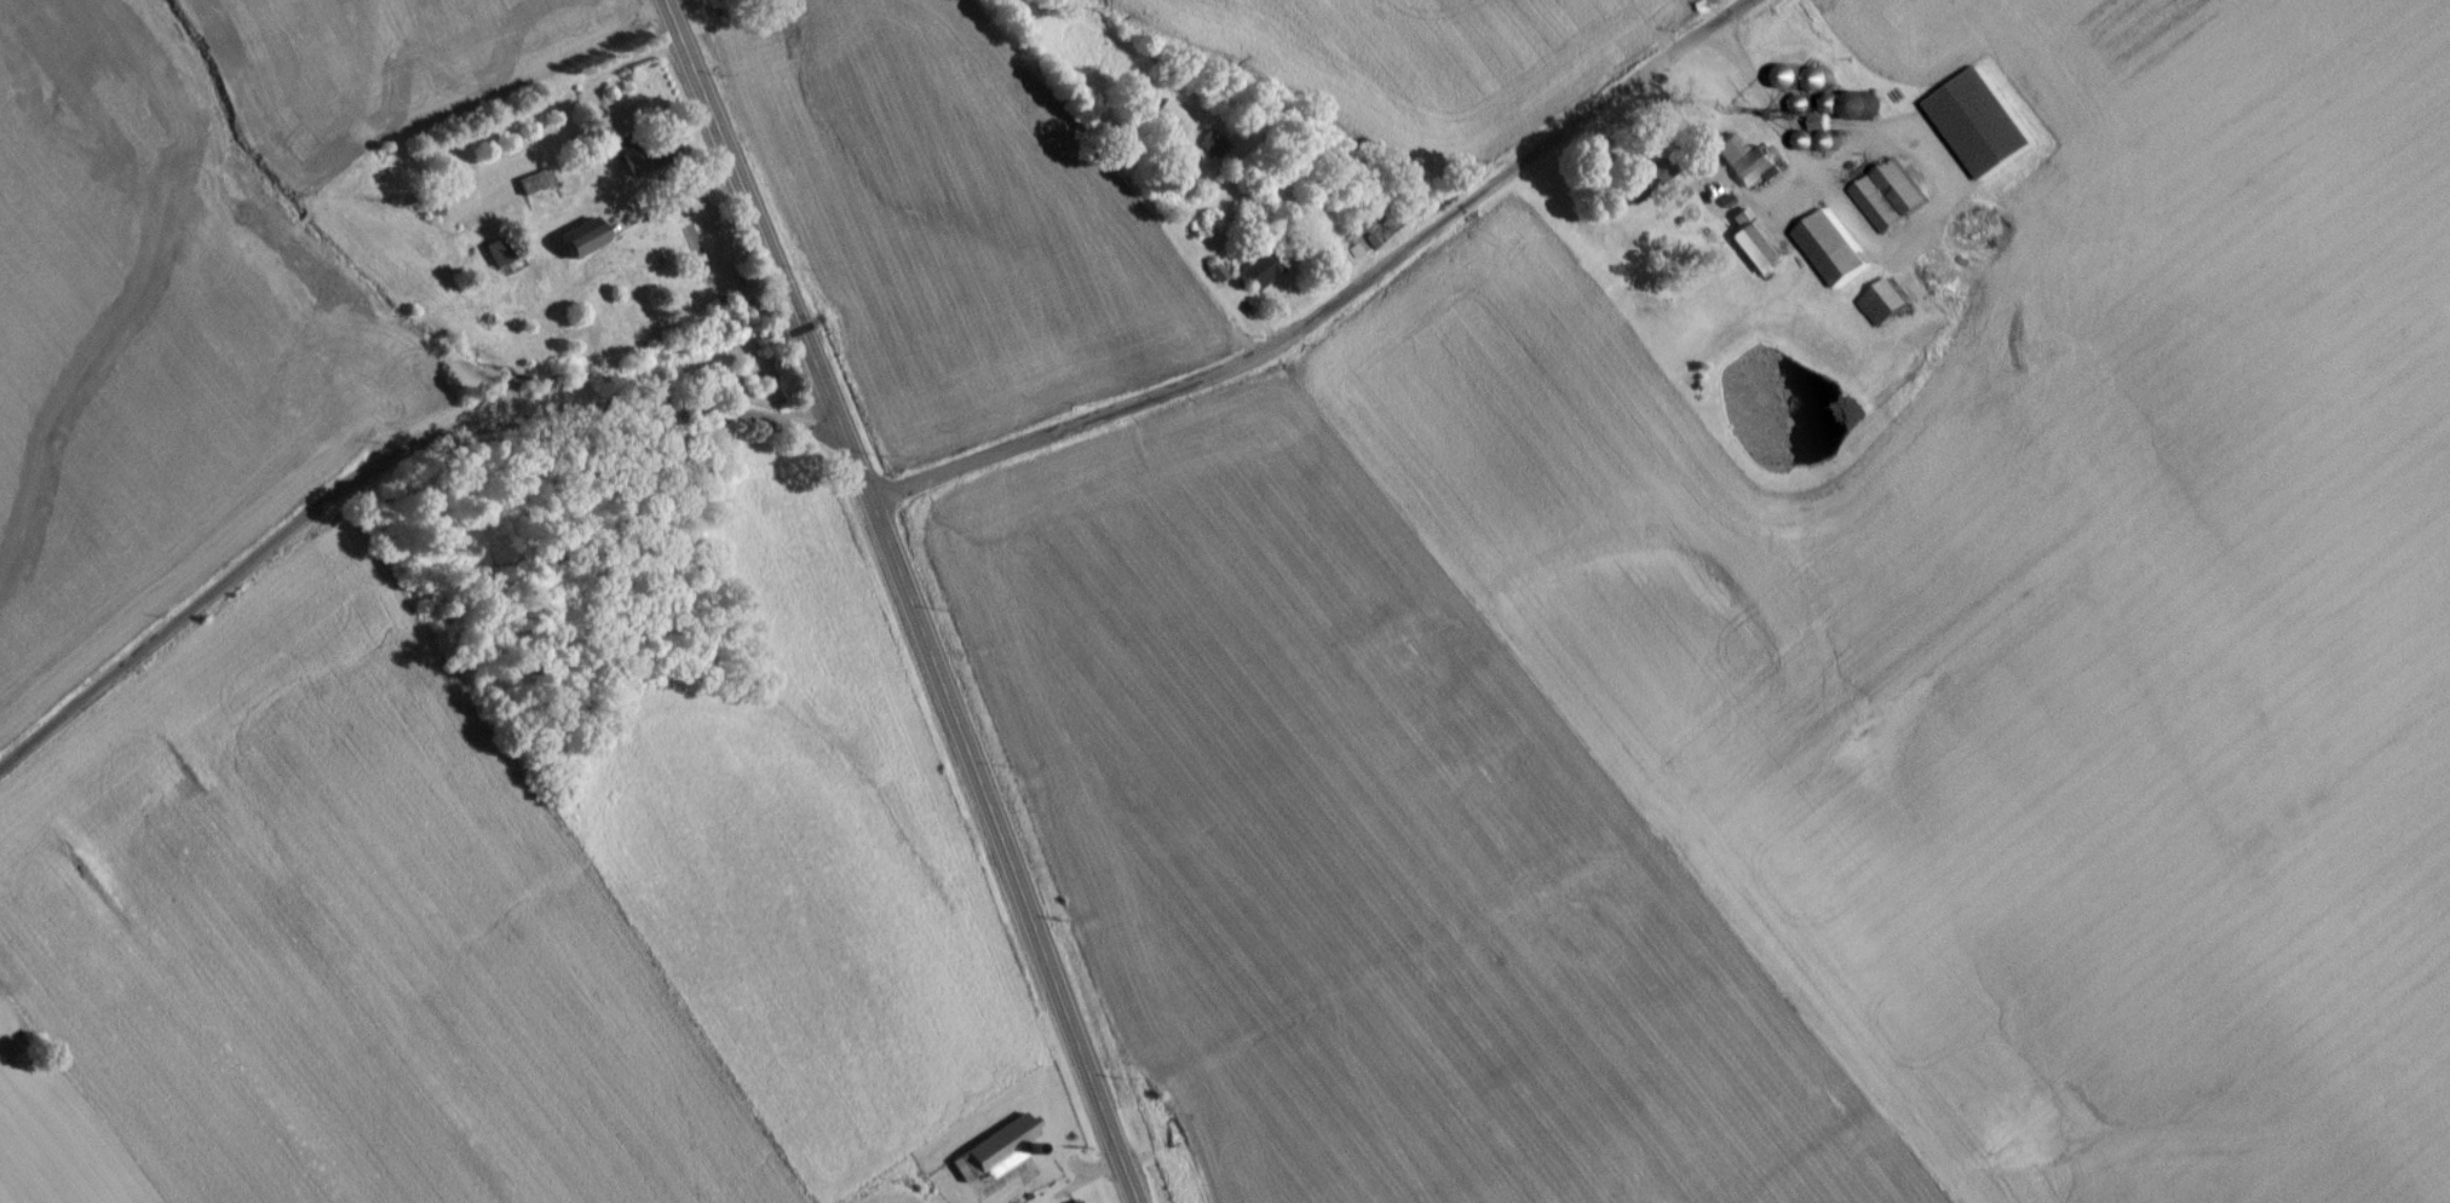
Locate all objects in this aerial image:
building: (1173, 125)
building: (1980, 129)
road: (612, 159)
building: (1744, 167)
building: (1646, 185)
building: (535, 188)
building: (1888, 202)
building: (580, 246)
building: (1753, 249)
building: (1833, 255)
building: (496, 258)
building: (1220, 277)
building: (1260, 277)
road: (1340, 306)
building: (1883, 310)
road: (375, 468)
road: (904, 598)
building: (1000, 1155)

